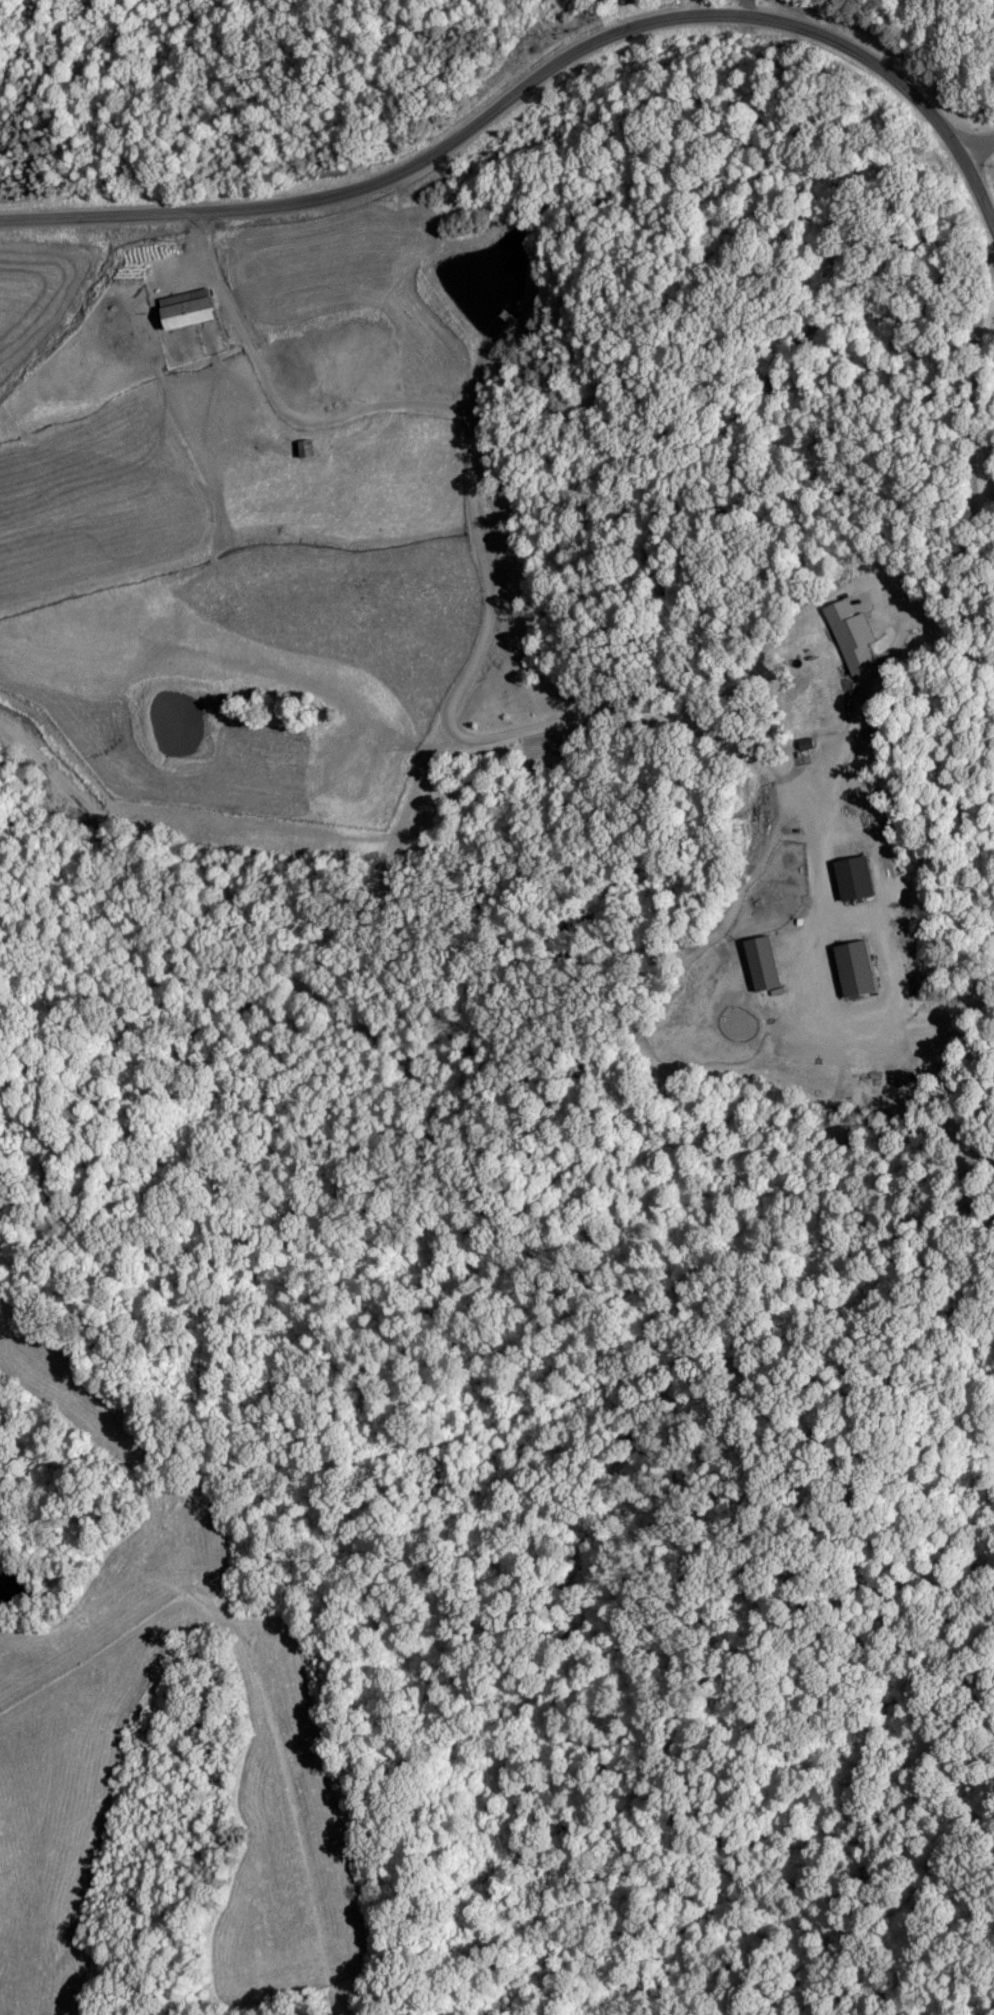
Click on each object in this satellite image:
road: (513, 103)
building: (188, 312)
road: (474, 434)
building: (304, 448)
road: (982, 466)
building: (848, 627)
road: (855, 732)
building: (855, 877)
building: (856, 968)

